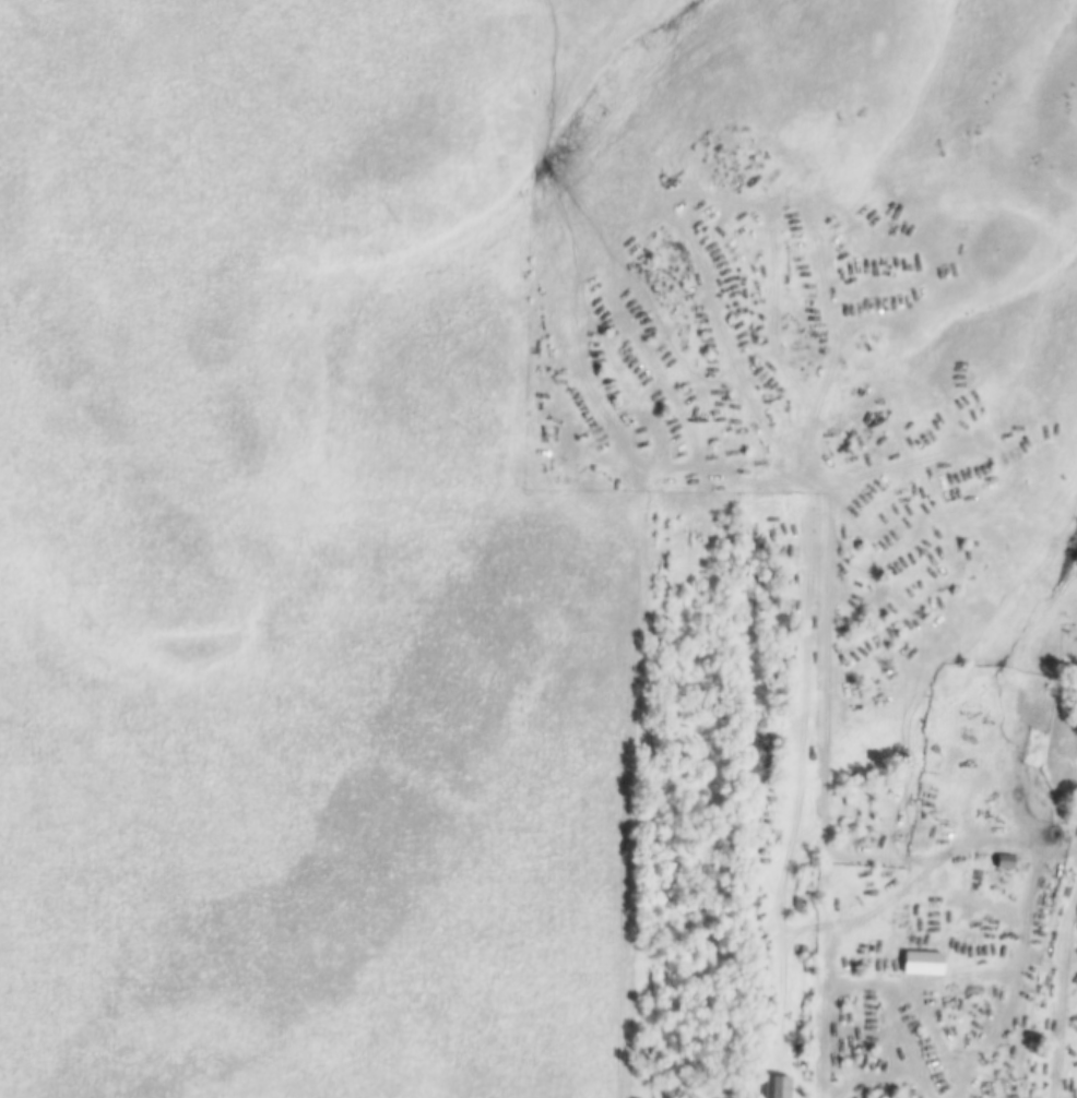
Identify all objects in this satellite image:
road: (1042, 835)
building: (1001, 863)
building: (918, 964)
building: (773, 1088)

